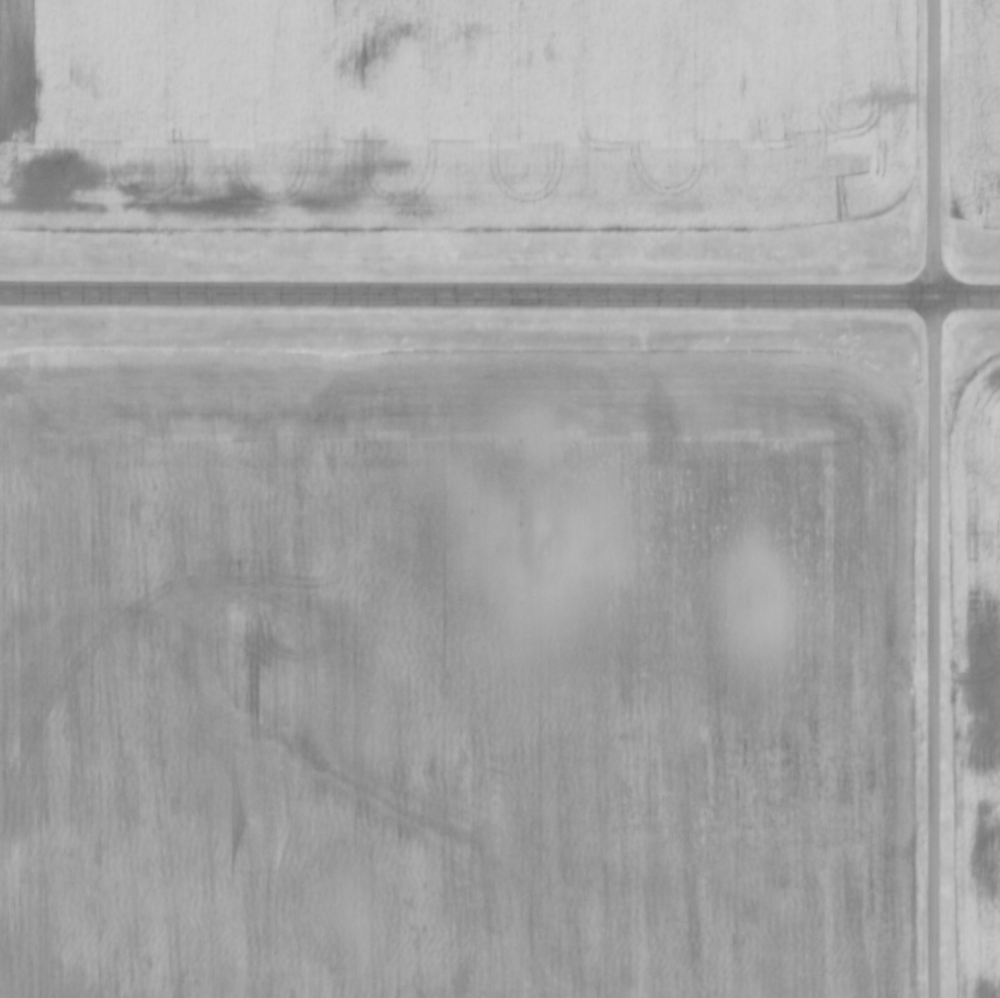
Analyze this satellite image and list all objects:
road: (935, 148)
road: (500, 295)
road: (932, 647)

